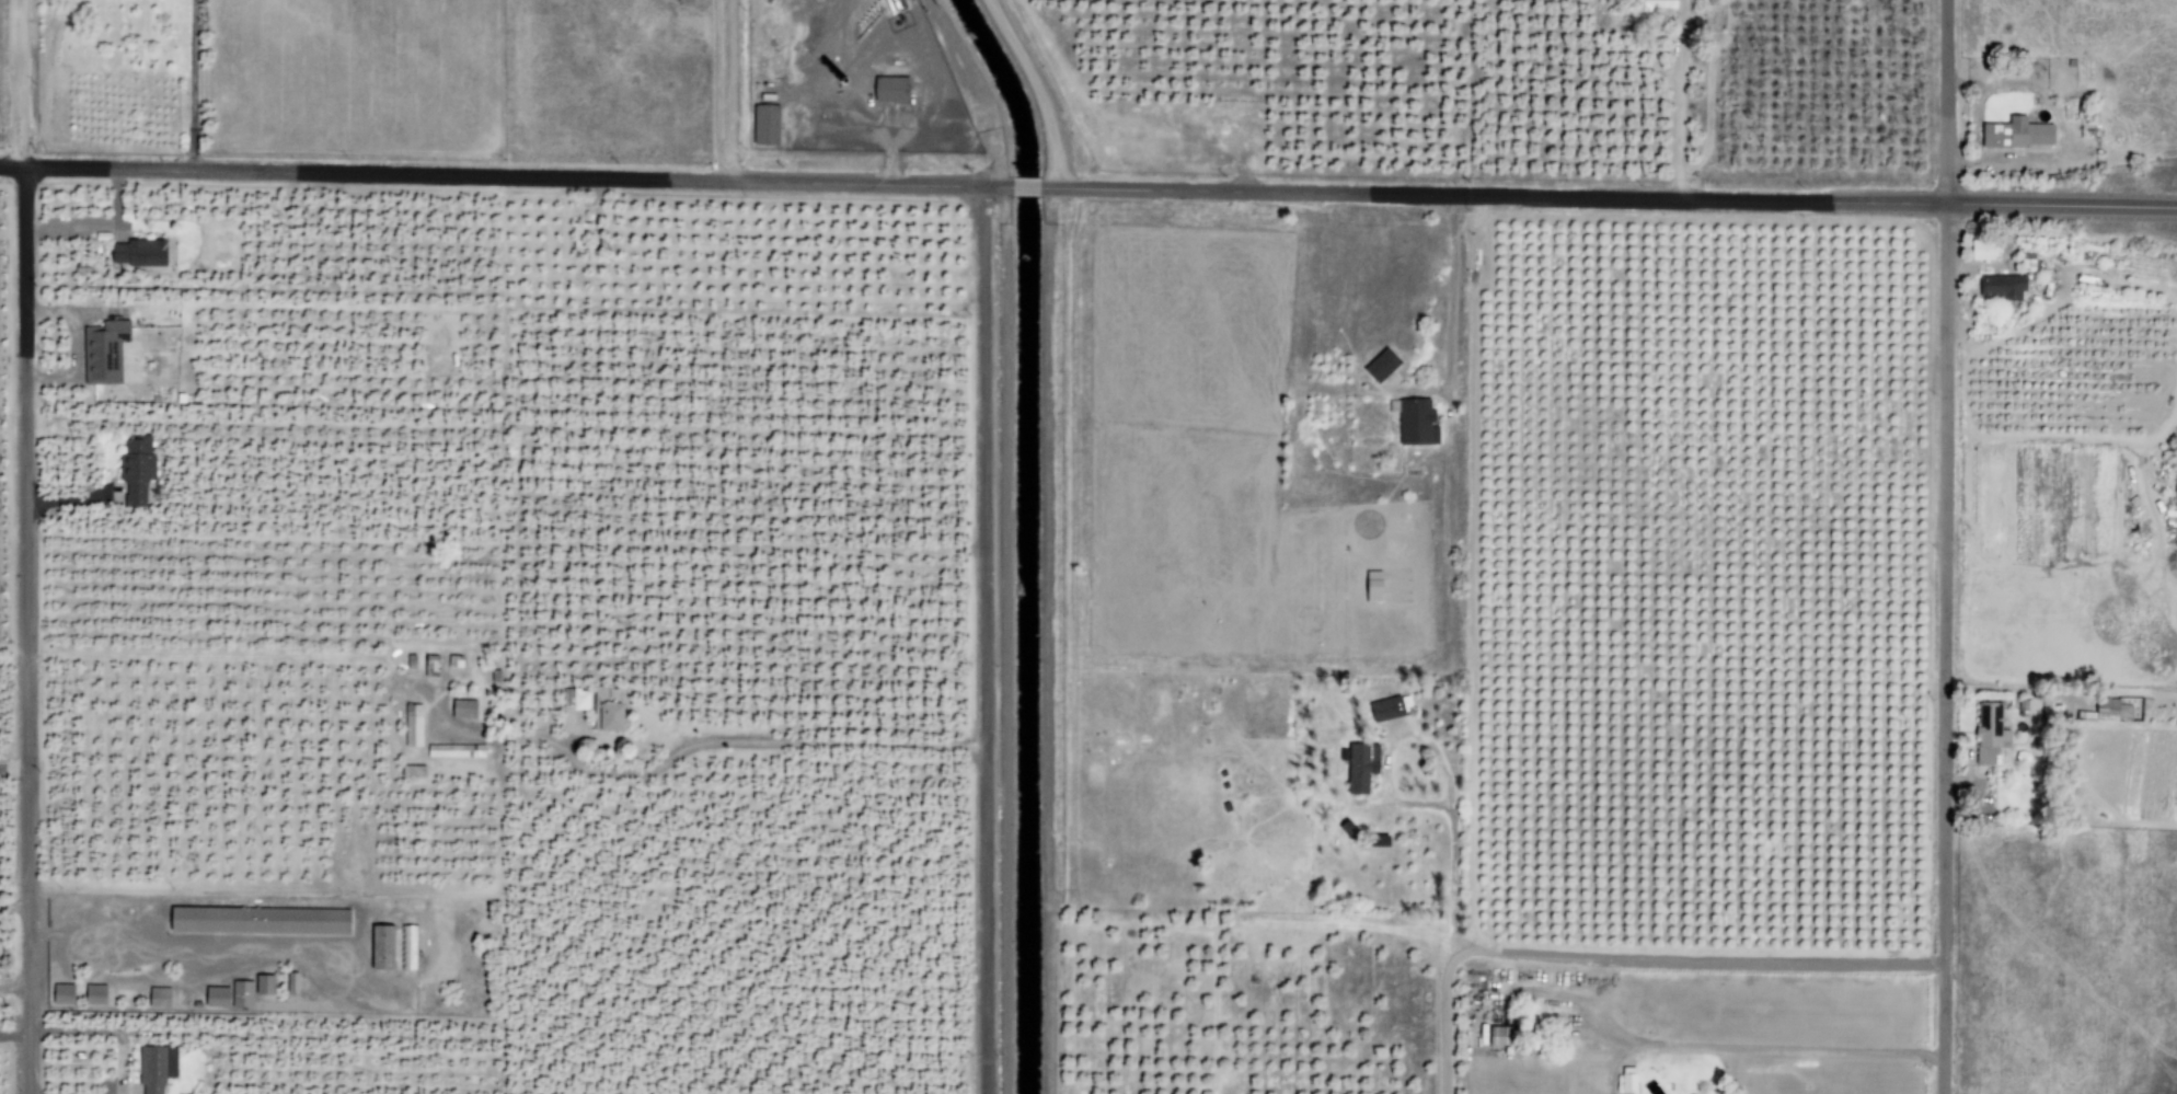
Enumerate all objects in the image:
building: (1656, 5)
road: (714, 81)
road: (16, 83)
road: (979, 89)
road: (1038, 89)
road: (730, 90)
building: (892, 90)
building: (767, 125)
building: (2018, 134)
road: (12, 165)
road: (516, 176)
road: (1024, 186)
road: (1491, 195)
road: (2061, 206)
building: (1983, 250)
building: (139, 253)
building: (2028, 263)
road: (1449, 316)
building: (105, 352)
building: (1383, 365)
building: (1417, 423)
building: (136, 470)
road: (1939, 546)
building: (1374, 586)
road: (25, 630)
road: (981, 640)
building: (454, 661)
building: (576, 700)
building: (1391, 709)
building: (464, 710)
building: (609, 710)
building: (2112, 711)
building: (413, 726)
building: (1992, 736)
building: (457, 751)
building: (1362, 767)
road: (12, 770)
building: (413, 772)
building: (1350, 830)
building: (261, 921)
building: (383, 947)
building: (407, 947)
road: (1625, 958)
building: (265, 983)
building: (64, 993)
building: (242, 993)
building: (96, 994)
building: (160, 997)
building: (218, 997)
building: (1496, 1035)
road: (1709, 1047)
road: (1616, 1059)
building: (157, 1068)
building: (1629, 1079)

